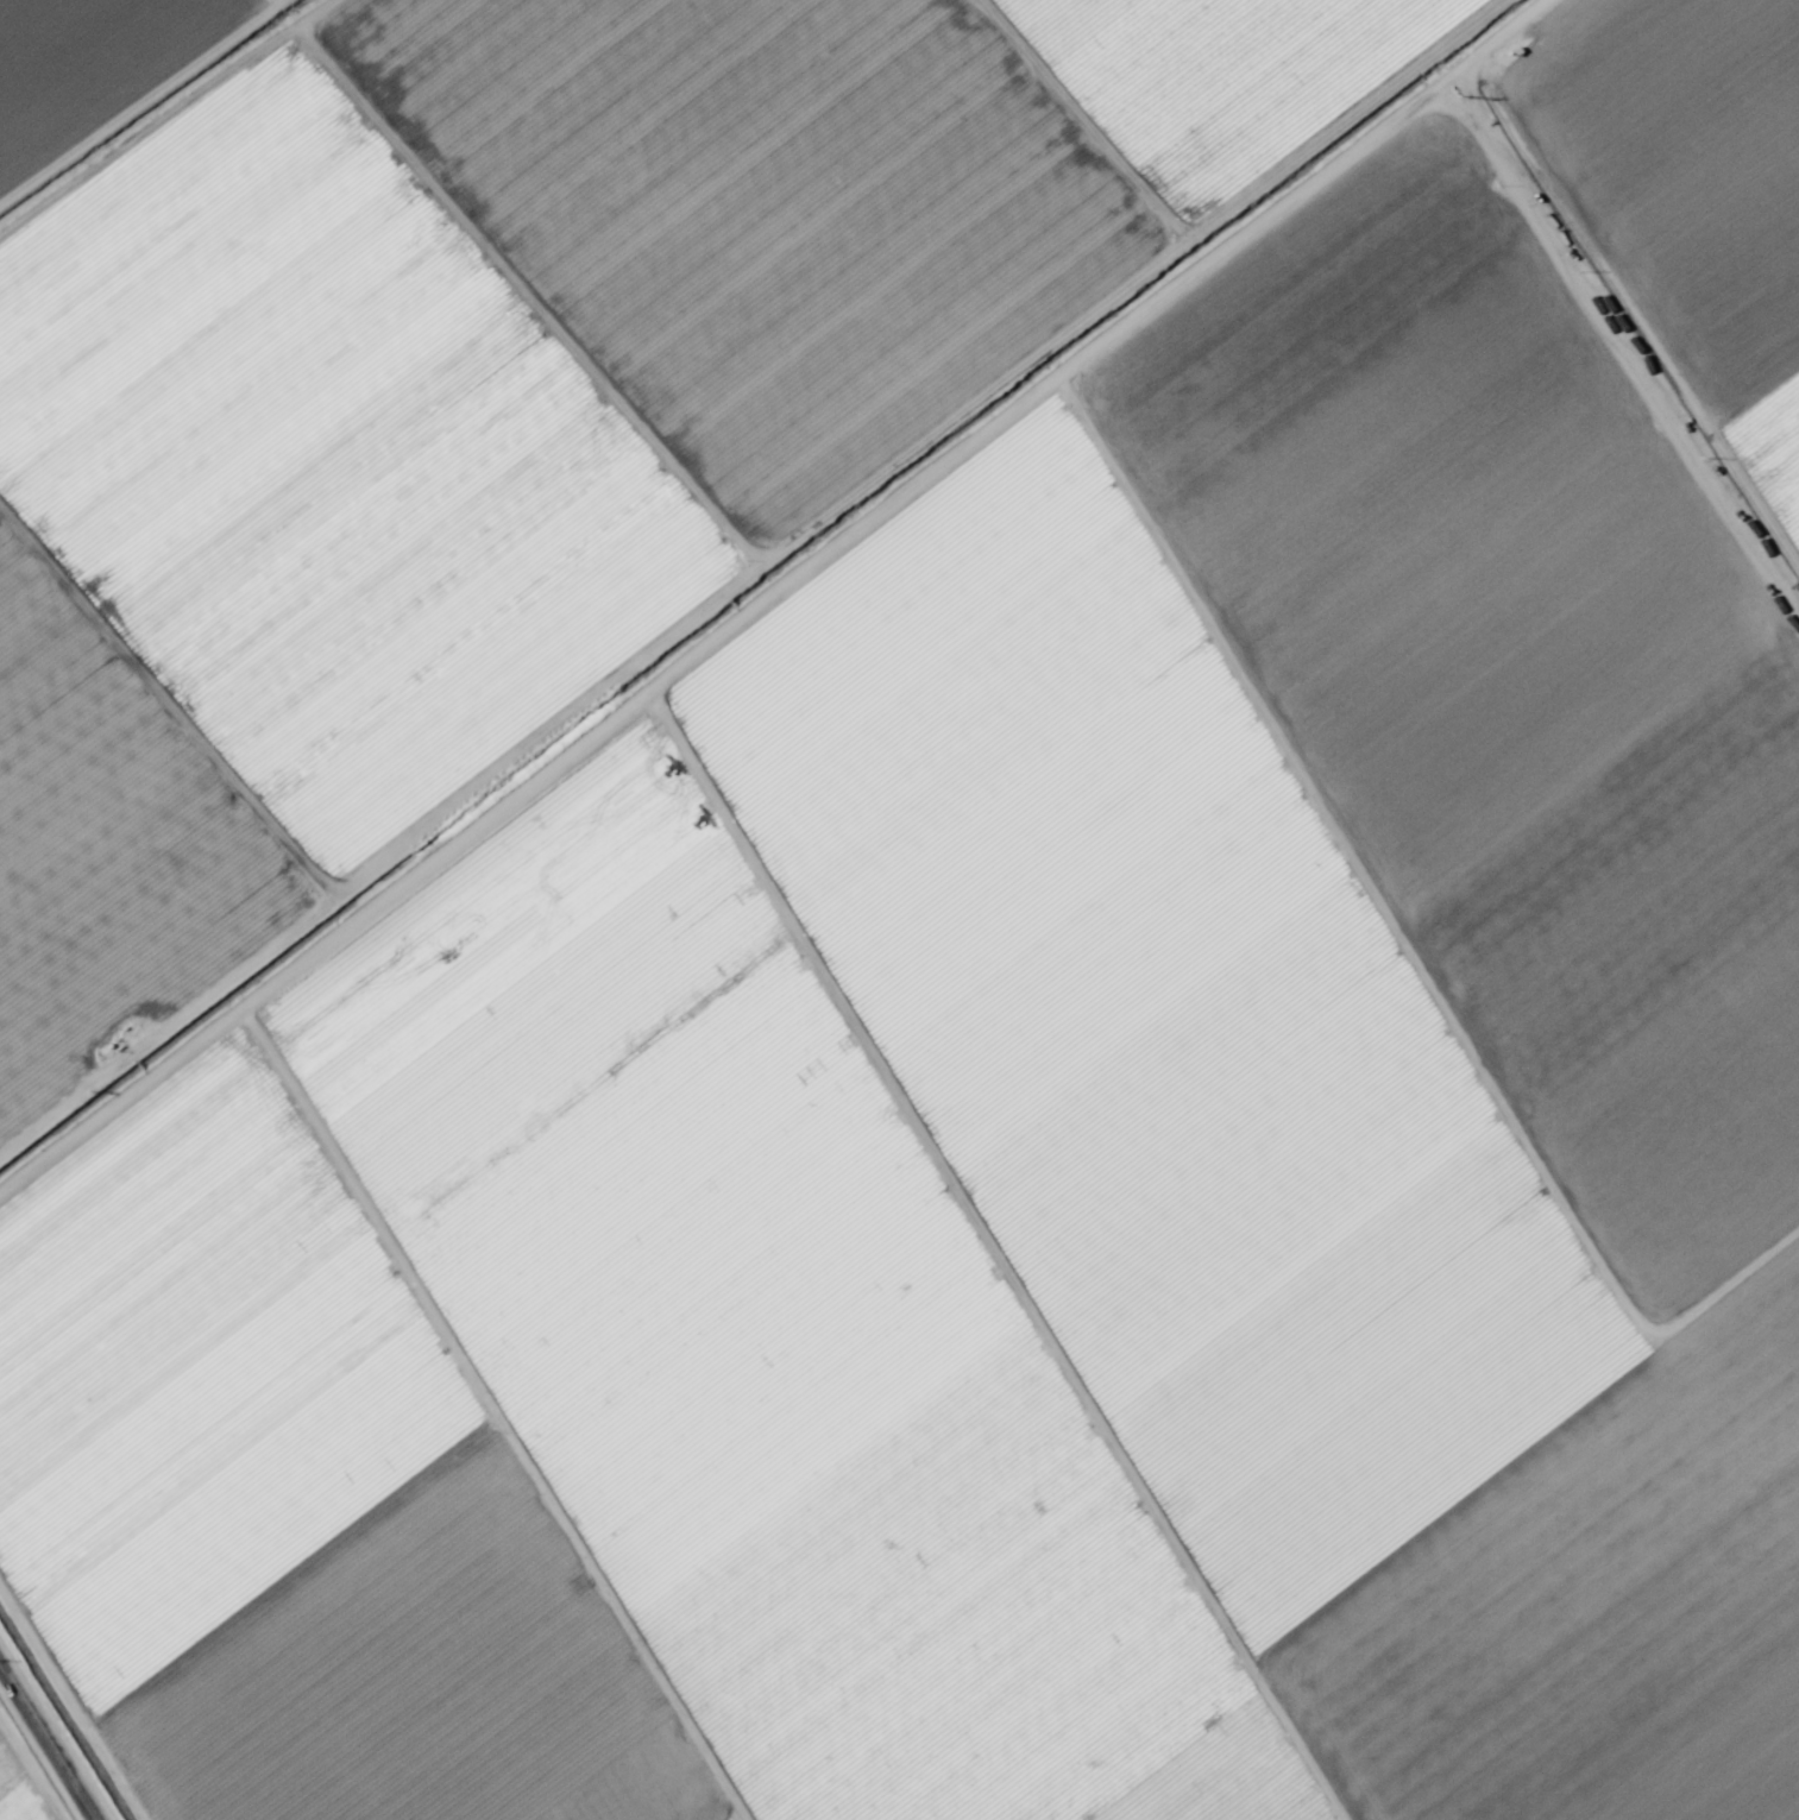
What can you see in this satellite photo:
road: (1611, 335)
road: (766, 596)
crop: (899, 909)
road: (45, 1745)

